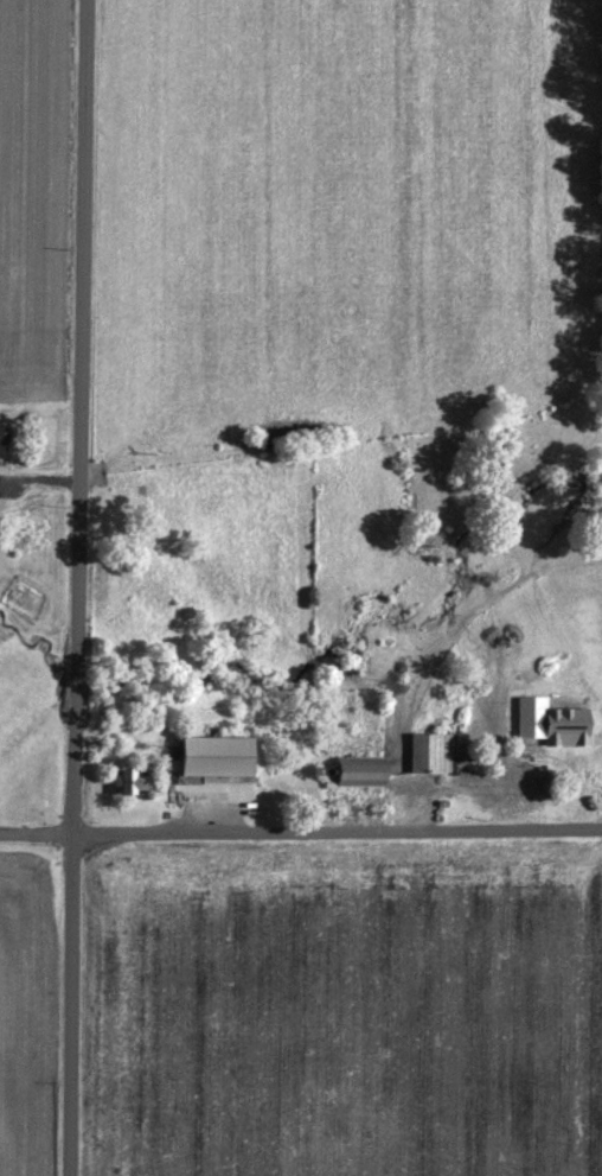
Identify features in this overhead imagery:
road: (77, 587)
building: (423, 757)
building: (206, 761)
building: (351, 776)
building: (122, 786)
road: (335, 829)
road: (34, 832)

